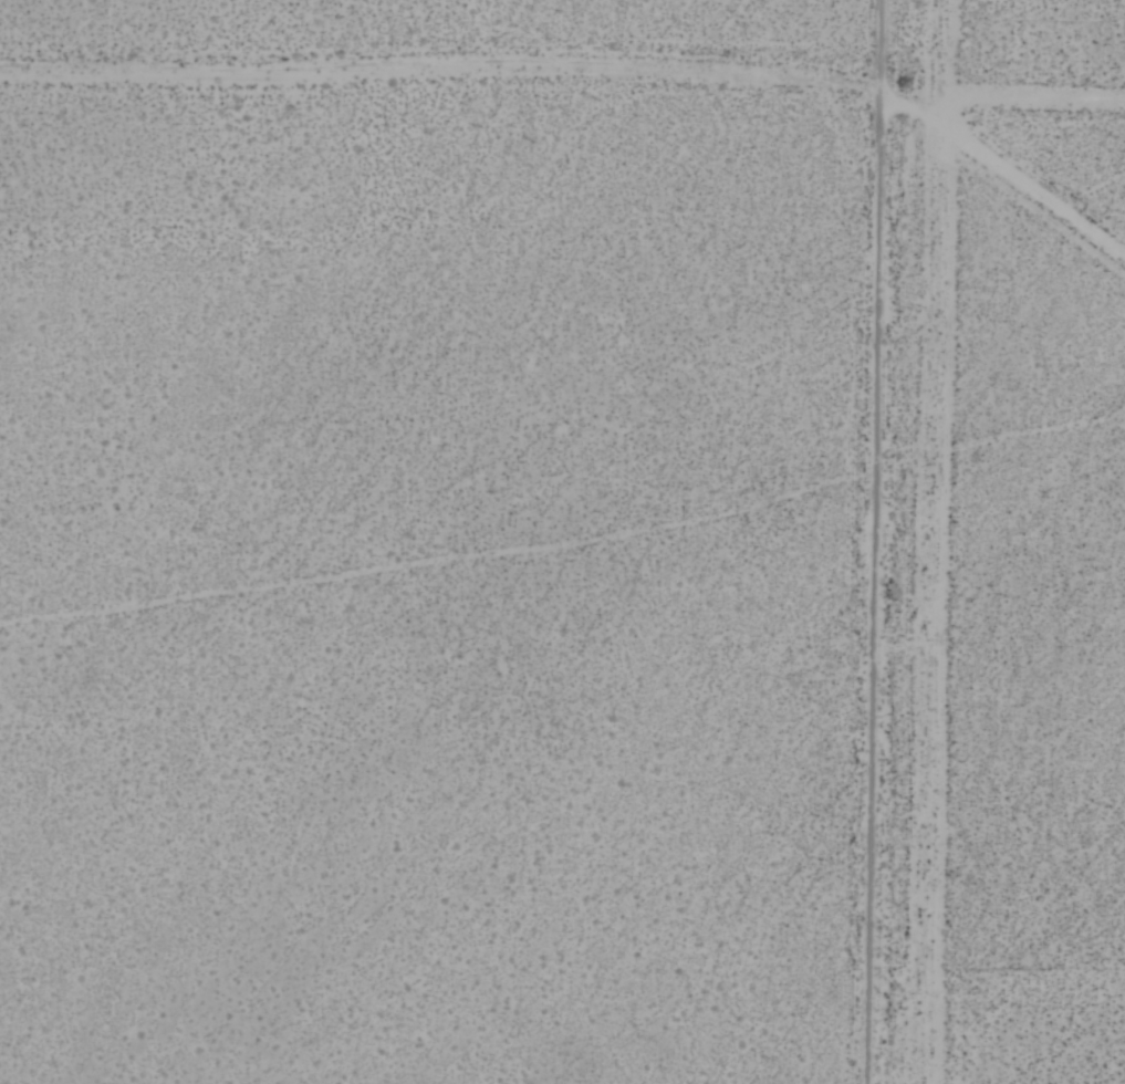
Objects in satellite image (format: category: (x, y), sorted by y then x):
road: (876, 541)
airport: (1051, 550)

